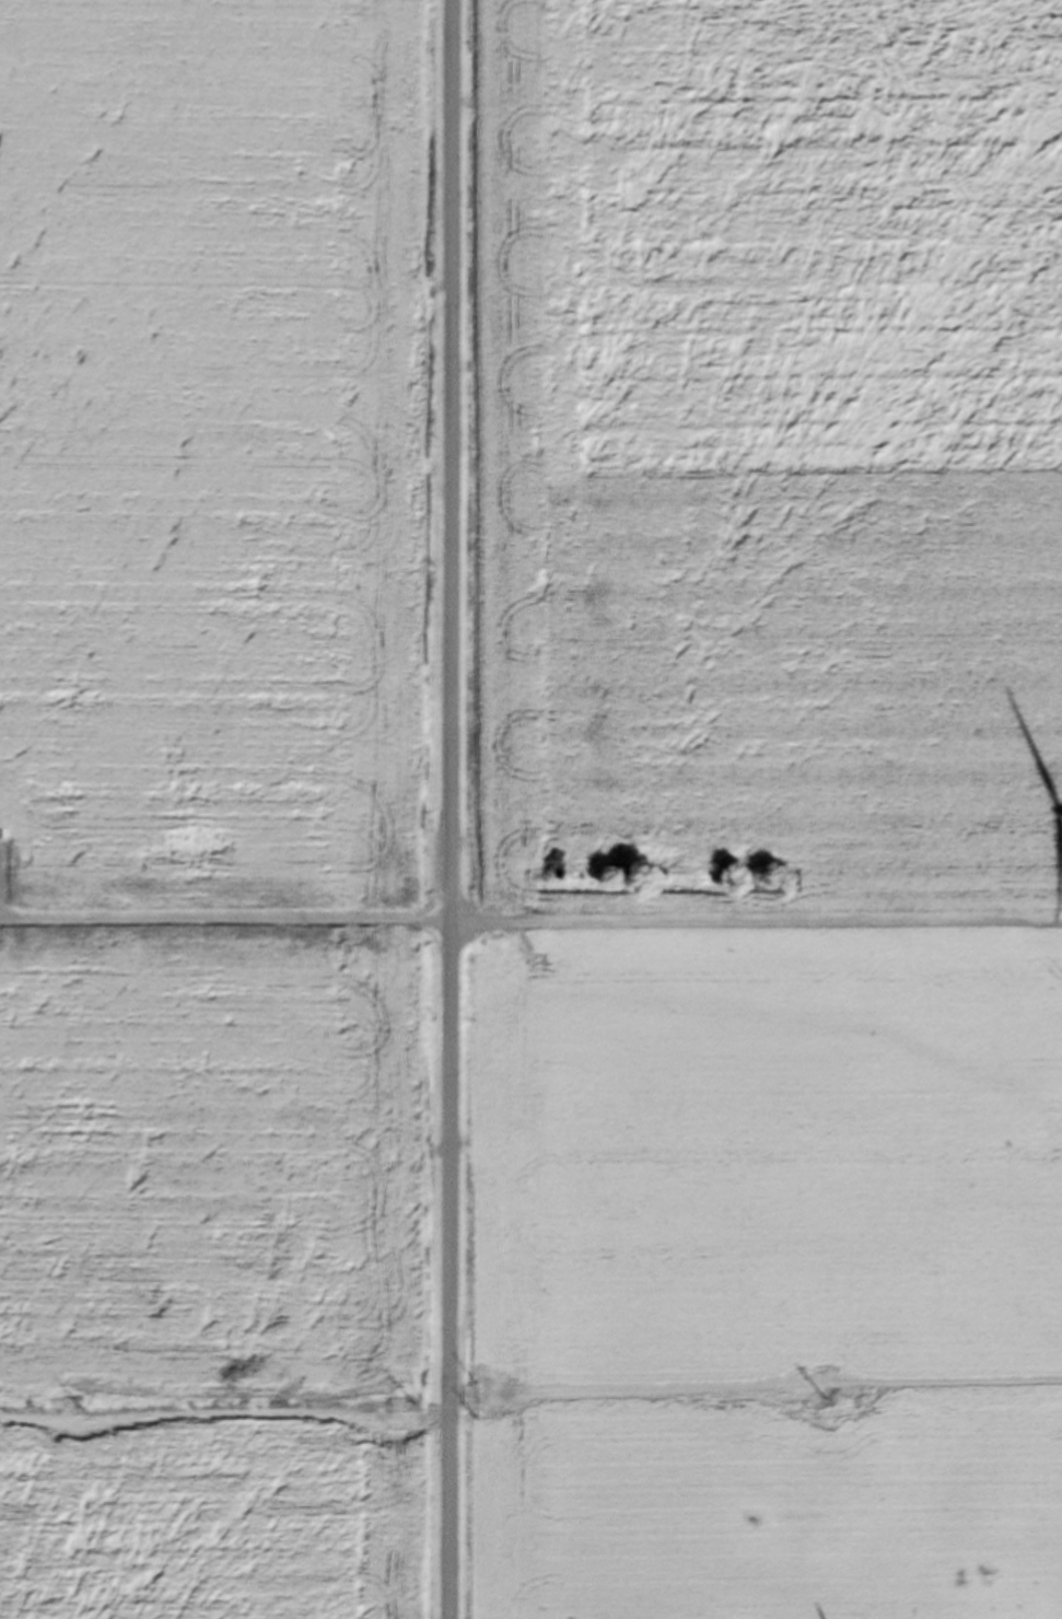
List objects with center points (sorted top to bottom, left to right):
road: (451, 808)
building: (16, 893)
road: (530, 927)

